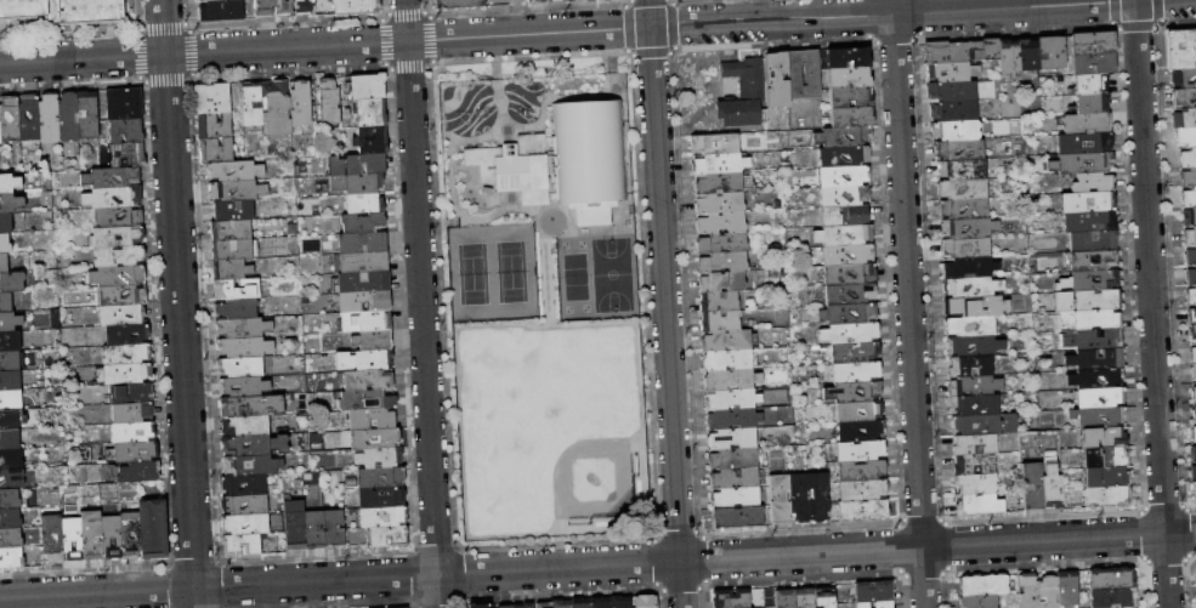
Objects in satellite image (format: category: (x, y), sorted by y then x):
building: (215, 1)
building: (514, 2)
building: (533, 2)
building: (593, 2)
building: (457, 6)
building: (353, 7)
building: (263, 8)
building: (284, 8)
building: (304, 8)
building: (64, 10)
building: (219, 12)
road: (567, 32)
building: (1090, 42)
building: (845, 49)
building: (1180, 49)
building: (956, 50)
building: (1050, 52)
building: (1026, 57)
building: (1007, 58)
road: (610, 62)
building: (1092, 63)
building: (848, 69)
building: (800, 70)
building: (950, 70)
building: (773, 72)
building: (1183, 78)
road: (495, 83)
building: (1093, 83)
building: (363, 85)
building: (848, 89)
building: (739, 90)
building: (950, 90)
building: (211, 98)
road: (548, 98)
building: (1183, 98)
building: (123, 101)
building: (325, 102)
building: (1090, 102)
building: (300, 103)
building: (249, 104)
building: (274, 107)
building: (849, 109)
building: (367, 110)
building: (951, 110)
building: (67, 117)
building: (47, 118)
building: (87, 118)
building: (1184, 118)
building: (27, 119)
building: (8, 120)
building: (1086, 123)
building: (212, 124)
building: (124, 130)
building: (953, 130)
building: (840, 135)
building: (1184, 137)
building: (368, 138)
building: (710, 138)
building: (1083, 142)
building: (216, 149)
building: (957, 149)
building: (837, 152)
building: (125, 154)
road: (448, 154)
building: (1186, 157)
building: (714, 158)
building: (562, 161)
building: (1086, 161)
building: (356, 163)
building: (958, 169)
building: (234, 170)
building: (839, 171)
building: (112, 176)
building: (716, 177)
building: (1188, 177)
building: (8, 178)
building: (1086, 182)
building: (356, 183)
road: (472, 188)
road: (628, 188)
building: (959, 188)
building: (234, 189)
building: (843, 193)
building: (112, 197)
building: (1188, 197)
building: (8, 198)
building: (716, 198)
building: (1087, 201)
building: (363, 203)
road: (508, 208)
road: (645, 208)
building: (960, 208)
road: (625, 209)
building: (231, 210)
building: (844, 212)
building: (117, 215)
building: (1188, 215)
building: (718, 217)
building: (4, 218)
road: (461, 221)
building: (1088, 221)
building: (353, 223)
road: (431, 225)
building: (963, 227)
building: (231, 231)
building: (843, 233)
building: (1189, 234)
building: (117, 235)
building: (719, 237)
building: (5, 239)
building: (1090, 240)
building: (353, 243)
park: (582, 244)
park: (563, 245)
building: (964, 248)
building: (233, 250)
building: (845, 251)
building: (1189, 254)
building: (118, 256)
building: (720, 256)
building: (2, 258)
building: (1092, 260)
building: (361, 262)
building: (231, 268)
building: (965, 268)
building: (846, 271)
road: (545, 272)
park: (493, 273)
park: (611, 274)
building: (1190, 274)
building: (118, 275)
building: (720, 275)
park: (574, 277)
building: (10, 278)
building: (362, 280)
building: (1093, 280)
building: (236, 288)
building: (967, 288)
building: (848, 290)
building: (120, 295)
building: (1190, 295)
building: (718, 296)
building: (4, 299)
building: (363, 300)
park: (543, 300)
building: (1094, 300)
road: (178, 303)
road: (421, 303)
road: (664, 303)
road: (908, 303)
road: (1151, 303)
building: (236, 307)
park: (568, 308)
park: (585, 308)
building: (849, 308)
building: (968, 308)
building: (121, 313)
building: (1191, 314)
building: (718, 317)
building: (4, 318)
building: (1094, 319)
building: (363, 320)
building: (243, 326)
building: (969, 326)
building: (849, 328)
building: (124, 333)
building: (1191, 333)
building: (724, 336)
building: (8, 337)
building: (1095, 340)
building: (364, 341)
building: (969, 346)
building: (244, 347)
road: (455, 348)
building: (852, 348)
building: (125, 352)
building: (1191, 352)
building: (8, 356)
building: (726, 357)
building: (1096, 359)
building: (359, 360)
building: (238, 366)
building: (852, 366)
building: (969, 366)
building: (125, 371)
building: (1191, 371)
building: (8, 375)
building: (726, 375)
park: (545, 379)
building: (1098, 379)
building: (364, 380)
building: (243, 386)
building: (855, 386)
building: (970, 386)
building: (127, 391)
building: (1194, 392)
building: (10, 394)
building: (727, 396)
building: (1099, 398)
building: (364, 399)
building: (249, 405)
building: (973, 405)
building: (856, 407)
building: (130, 410)
building: (1195, 413)
building: (6, 414)
building: (729, 414)
building: (1099, 417)
building: (368, 419)
park: (545, 425)
building: (974, 425)
building: (242, 426)
building: (857, 426)
building: (129, 430)
building: (1195, 430)
building: (8, 433)
building: (731, 434)
building: (373, 438)
building: (1100, 438)
building: (973, 444)
building: (243, 445)
building: (858, 445)
building: (131, 450)
building: (10, 453)
building: (1192, 453)
building: (732, 455)
building: (375, 458)
building: (1100, 458)
building: (973, 464)
building: (244, 465)
building: (858, 465)
building: (132, 470)
building: (10, 472)
building: (1194, 472)
building: (732, 476)
building: (376, 477)
building: (1103, 478)
building: (974, 483)
building: (244, 484)
building: (860, 485)
building: (1031, 487)
building: (817, 490)
building: (1194, 490)
building: (797, 491)
building: (1050, 491)
building: (7, 494)
building: (777, 494)
building: (733, 495)
building: (1104, 496)
building: (378, 498)
building: (243, 505)
building: (975, 505)
building: (862, 507)
building: (106, 508)
building: (8, 513)
building: (735, 515)
building: (379, 517)
building: (149, 524)
building: (244, 524)
building: (333, 528)
building: (312, 529)
building: (86, 530)
building: (126, 530)
building: (293, 530)
building: (8, 533)
building: (107, 533)
building: (49, 534)
building: (68, 534)
building: (387, 536)
building: (240, 545)
road: (557, 550)
building: (10, 553)
road: (597, 566)
building: (1109, 578)
building: (981, 584)
building: (872, 590)
building: (1026, 590)
building: (1066, 590)
building: (1045, 592)
building: (1110, 595)
building: (730, 597)
building: (801, 597)
building: (821, 597)
building: (783, 598)
building: (640, 601)
building: (976, 601)
building: (597, 602)
building: (617, 602)
building: (474, 603)
building: (578, 603)
building: (873, 603)
building: (539, 604)
building: (557, 604)
building: (501, 606)
building: (520, 606)
building: (398, 607)
building: (736, 607)
building: (1117, 607)

